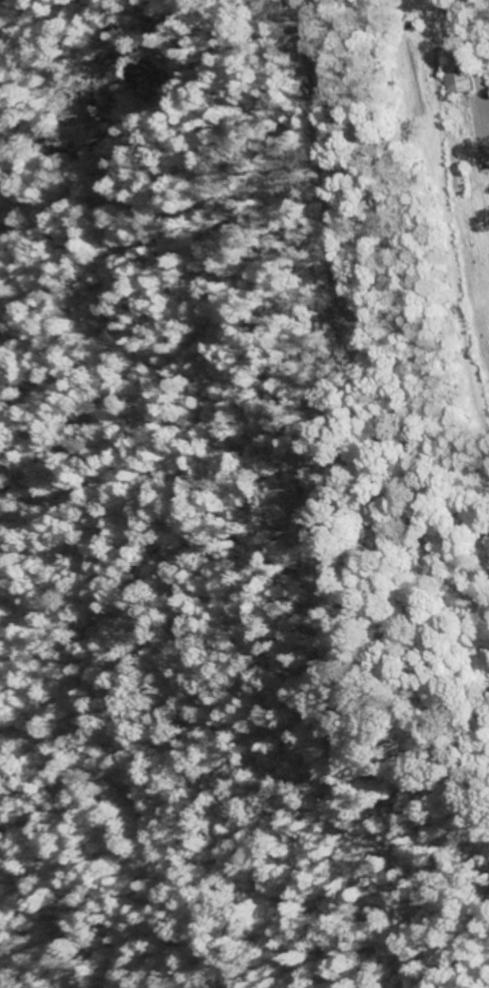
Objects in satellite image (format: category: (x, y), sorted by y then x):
building: (312, 78)
building: (458, 79)

